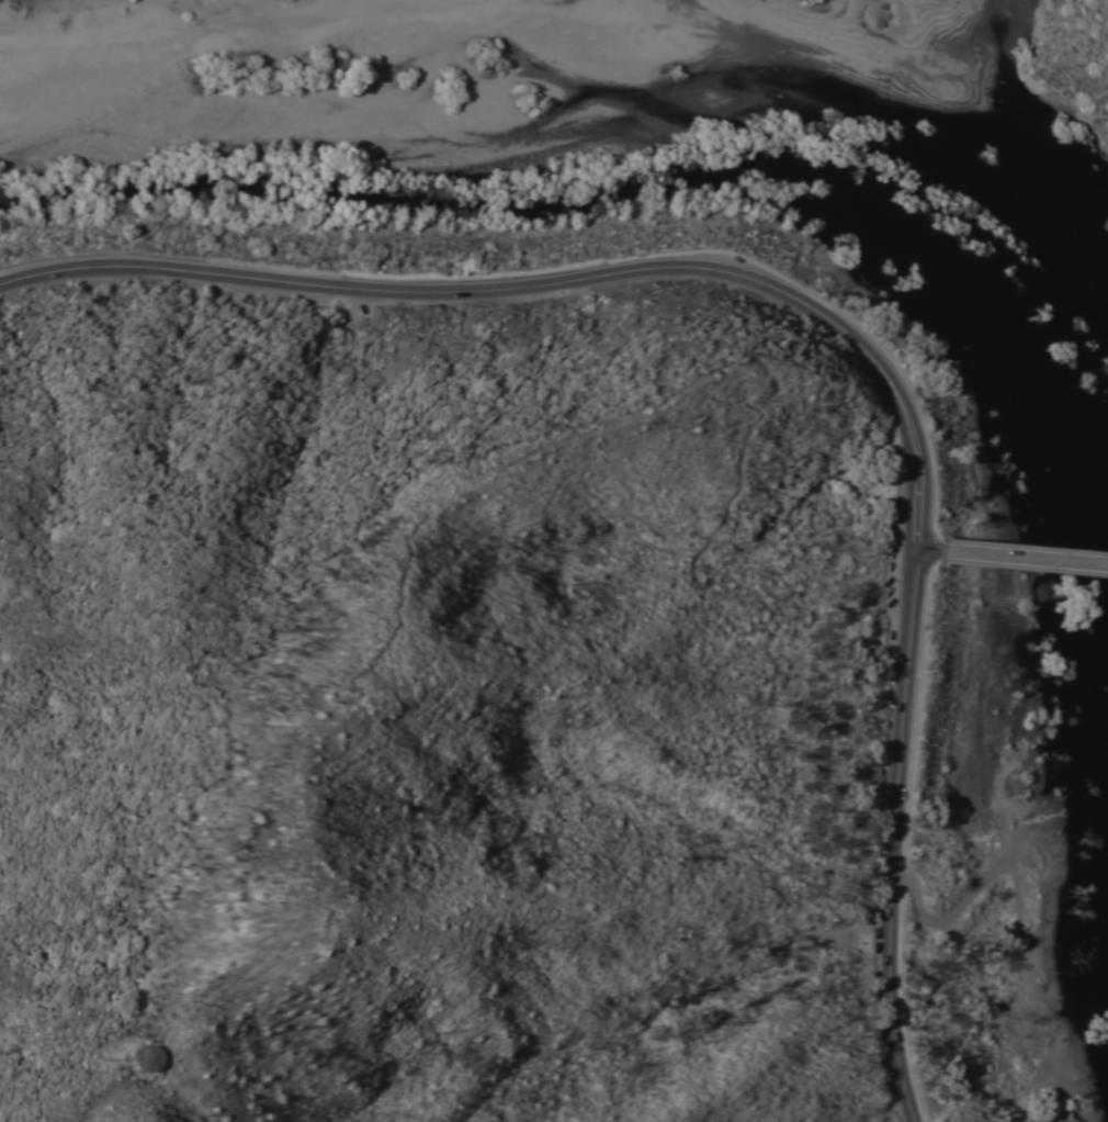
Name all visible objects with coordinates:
road: (203, 15)
road: (749, 35)
river: (601, 194)
road: (549, 276)
road: (927, 549)
road: (1024, 558)
road: (895, 835)
road: (1015, 893)
road: (959, 908)
building: (147, 1056)
road: (83, 1100)

